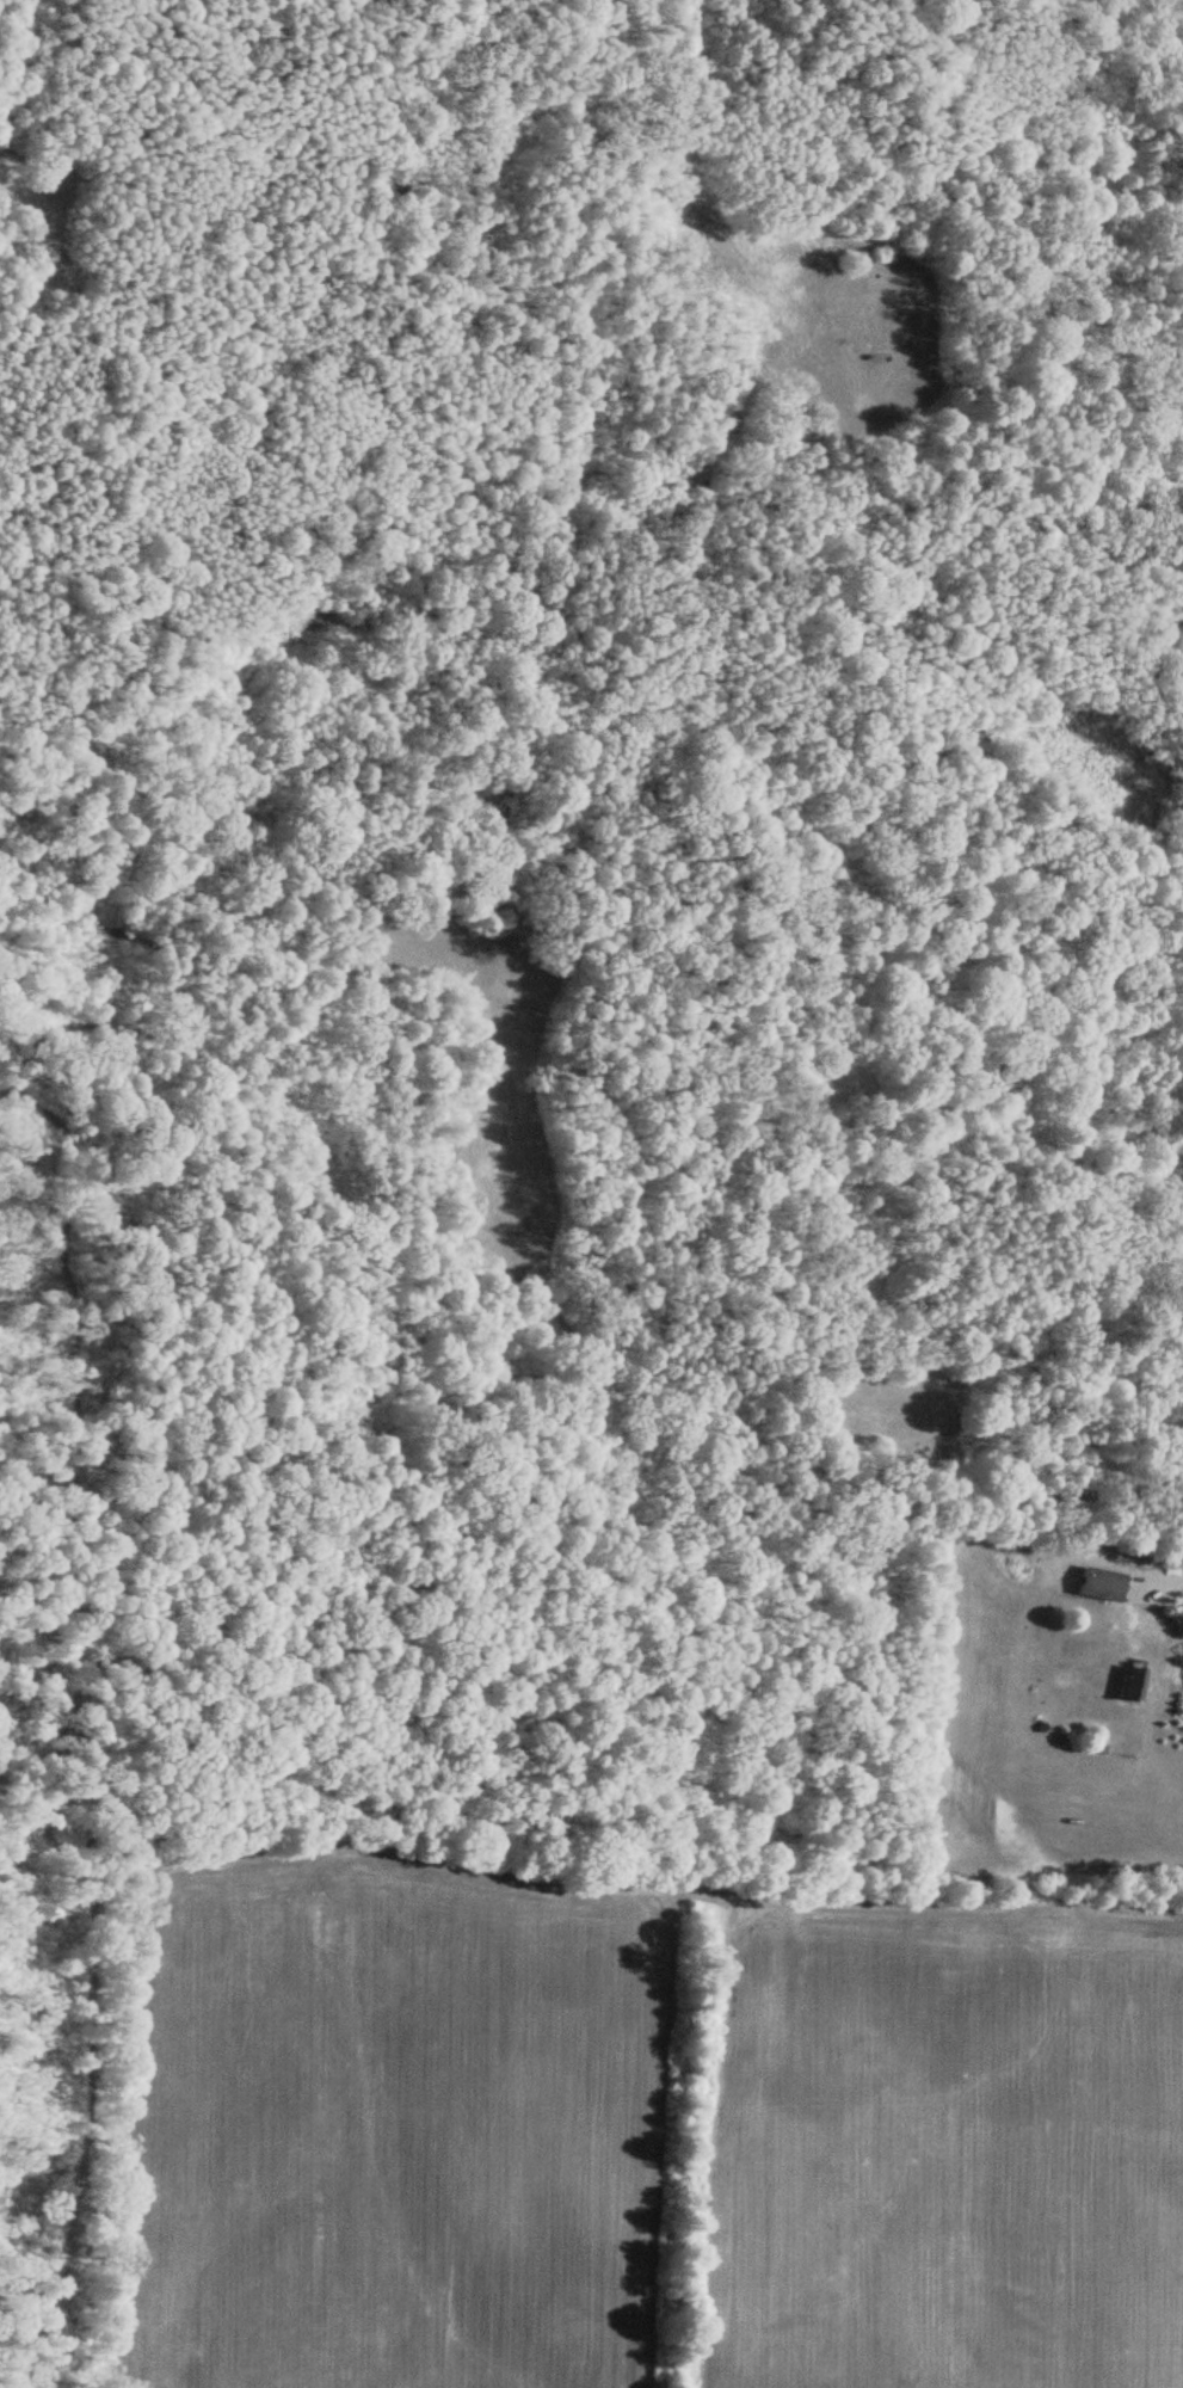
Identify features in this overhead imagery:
building: (1098, 1583)
building: (1128, 1681)

